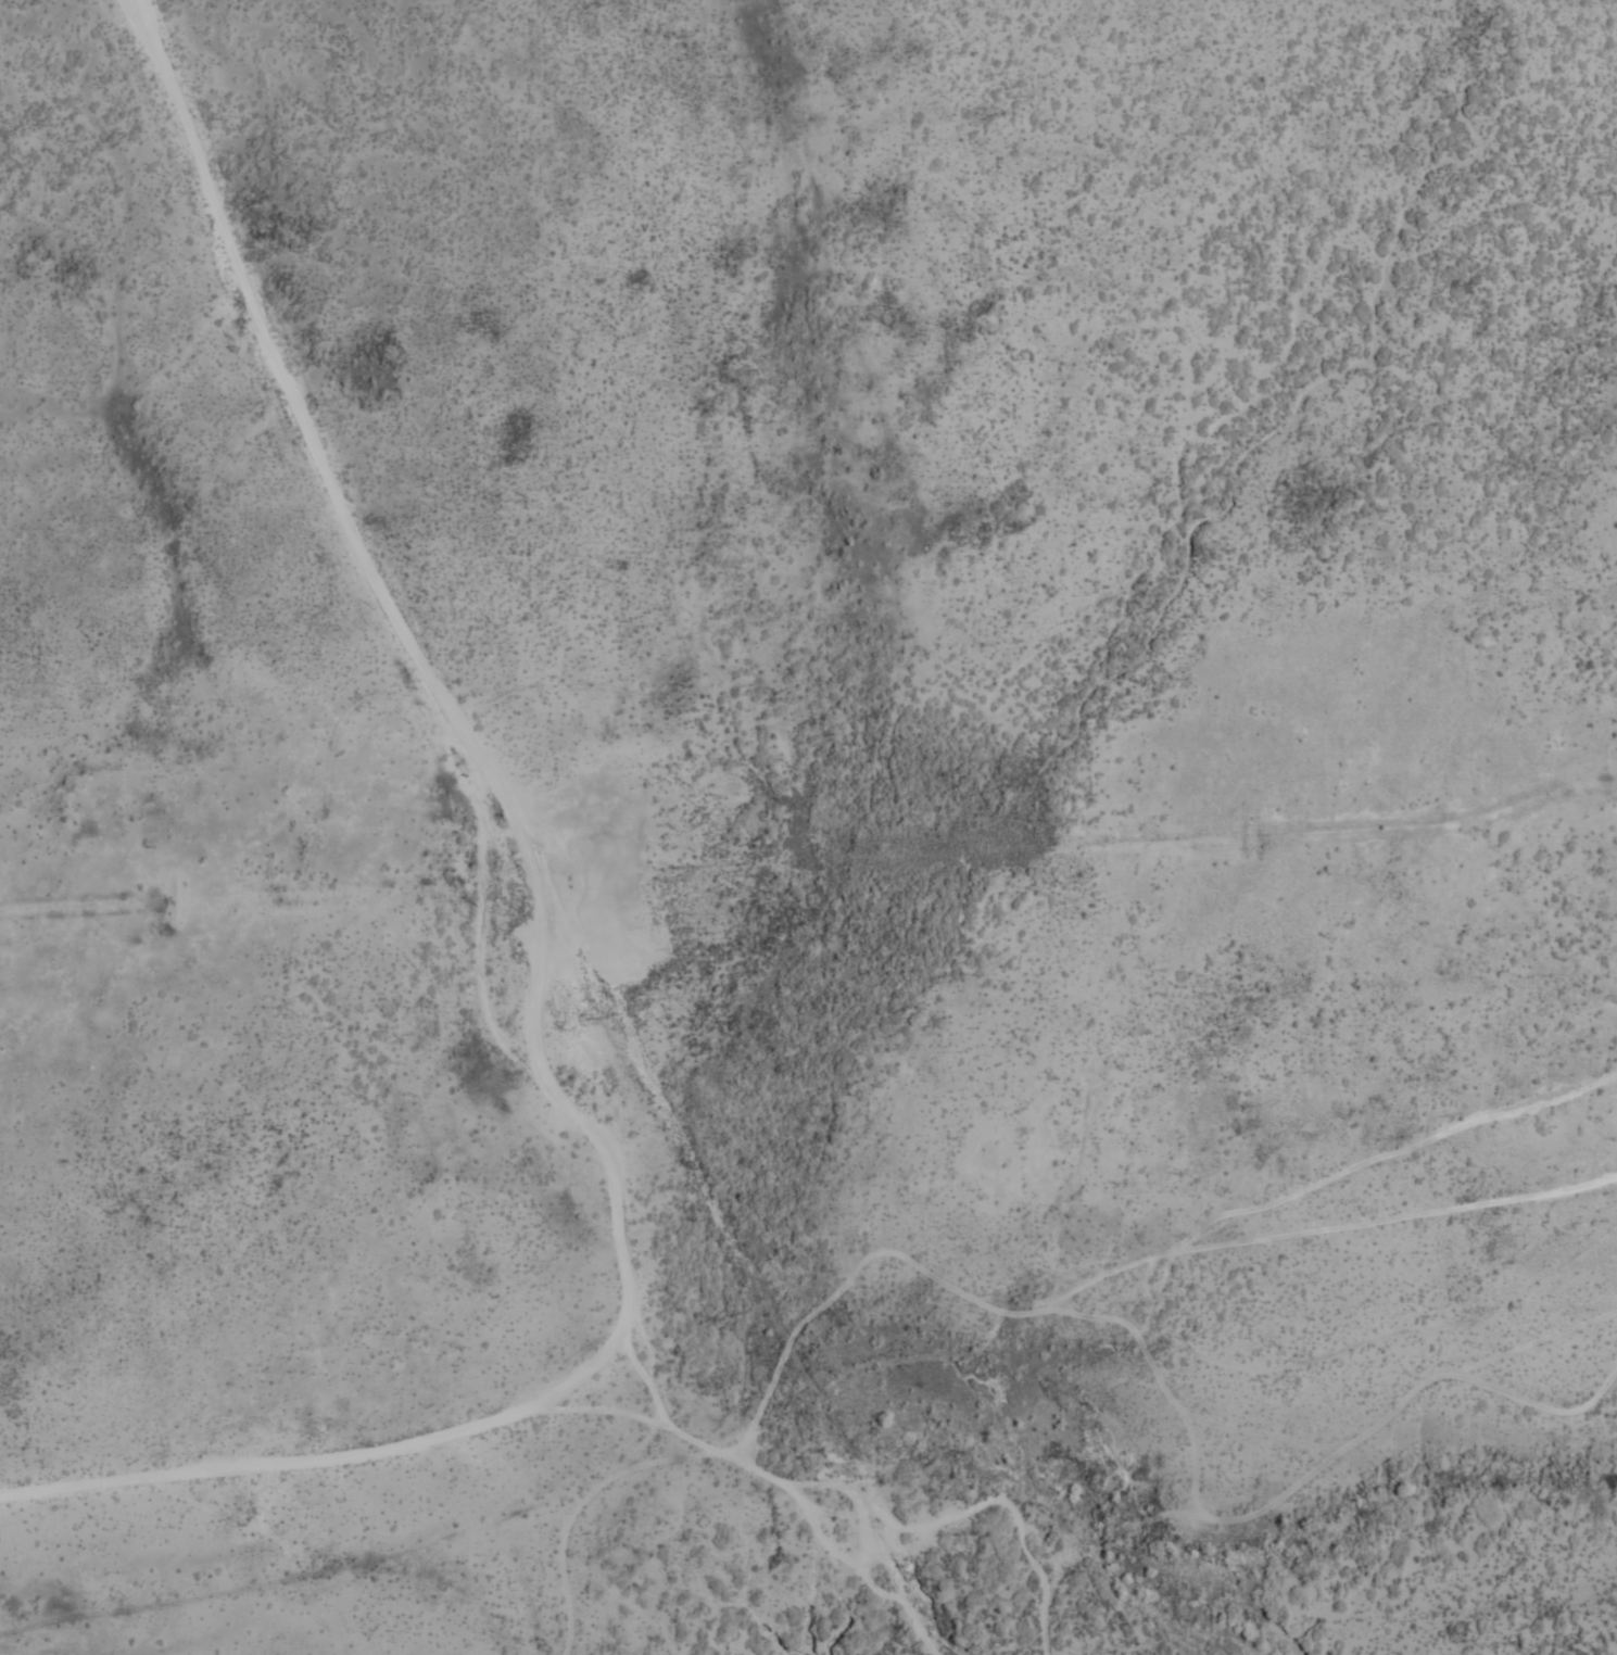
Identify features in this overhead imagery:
road: (484, 770)
road: (614, 1353)
road: (640, 1451)
road: (822, 1483)
road: (582, 1505)
road: (1018, 1514)
road: (917, 1583)

